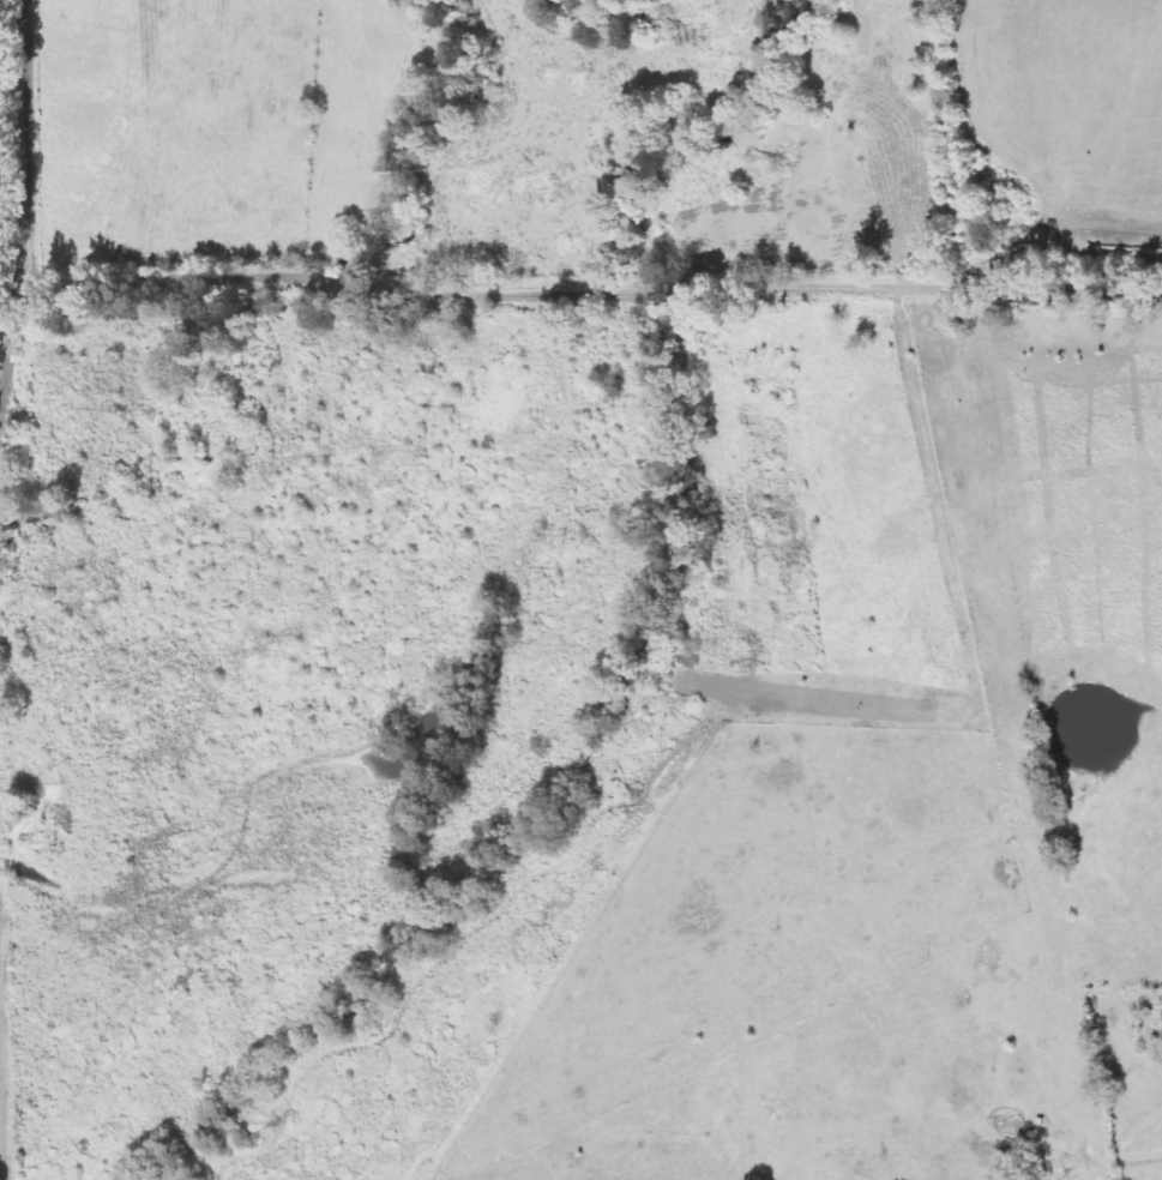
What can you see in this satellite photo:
road: (445, 284)
road: (8, 347)
road: (4, 1049)
road: (4, 1156)

